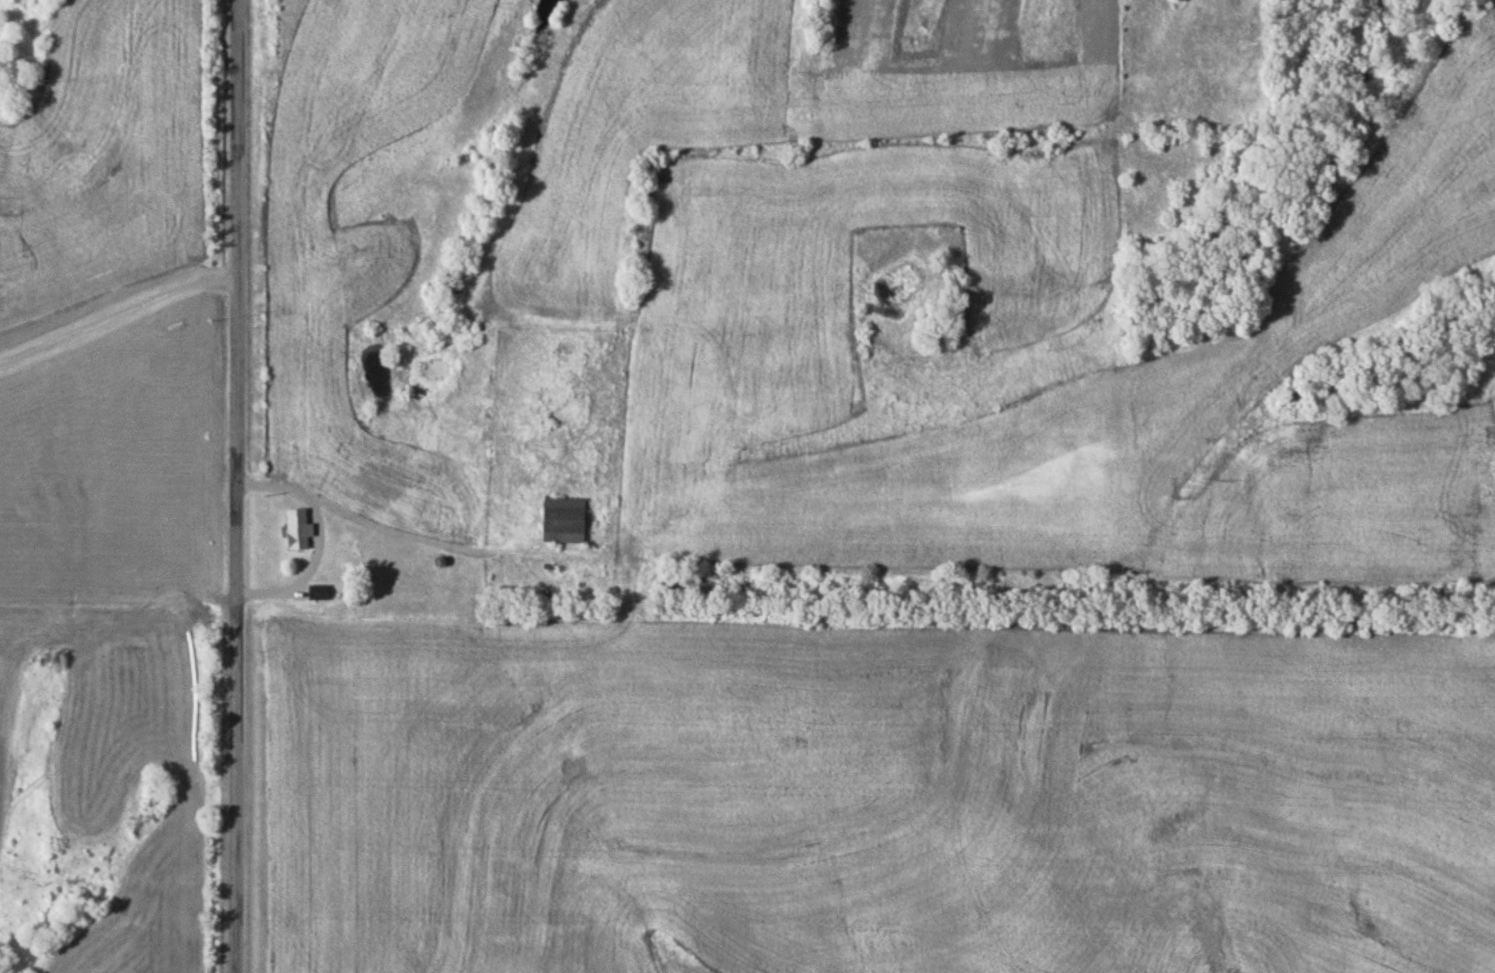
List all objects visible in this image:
road: (120, 316)
road: (242, 486)
building: (566, 521)
building: (300, 530)
building: (321, 593)

